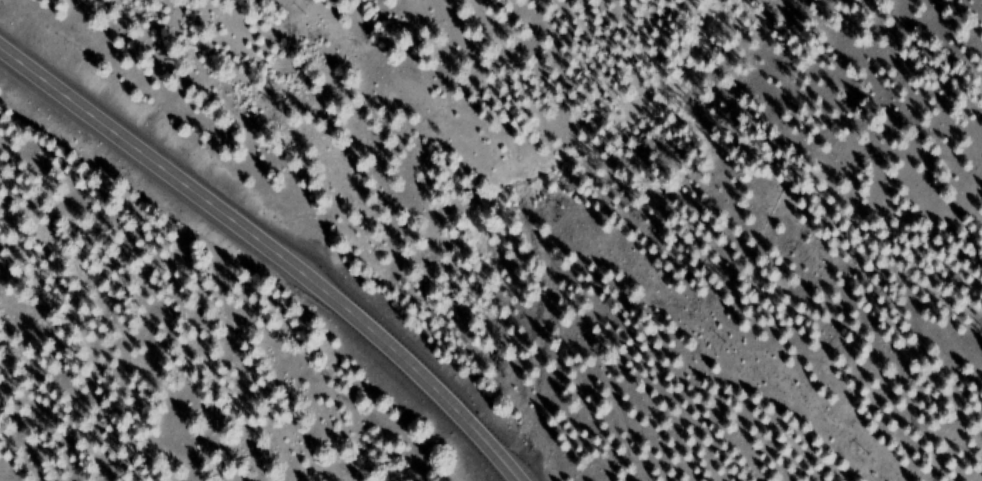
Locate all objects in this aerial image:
road: (274, 245)

